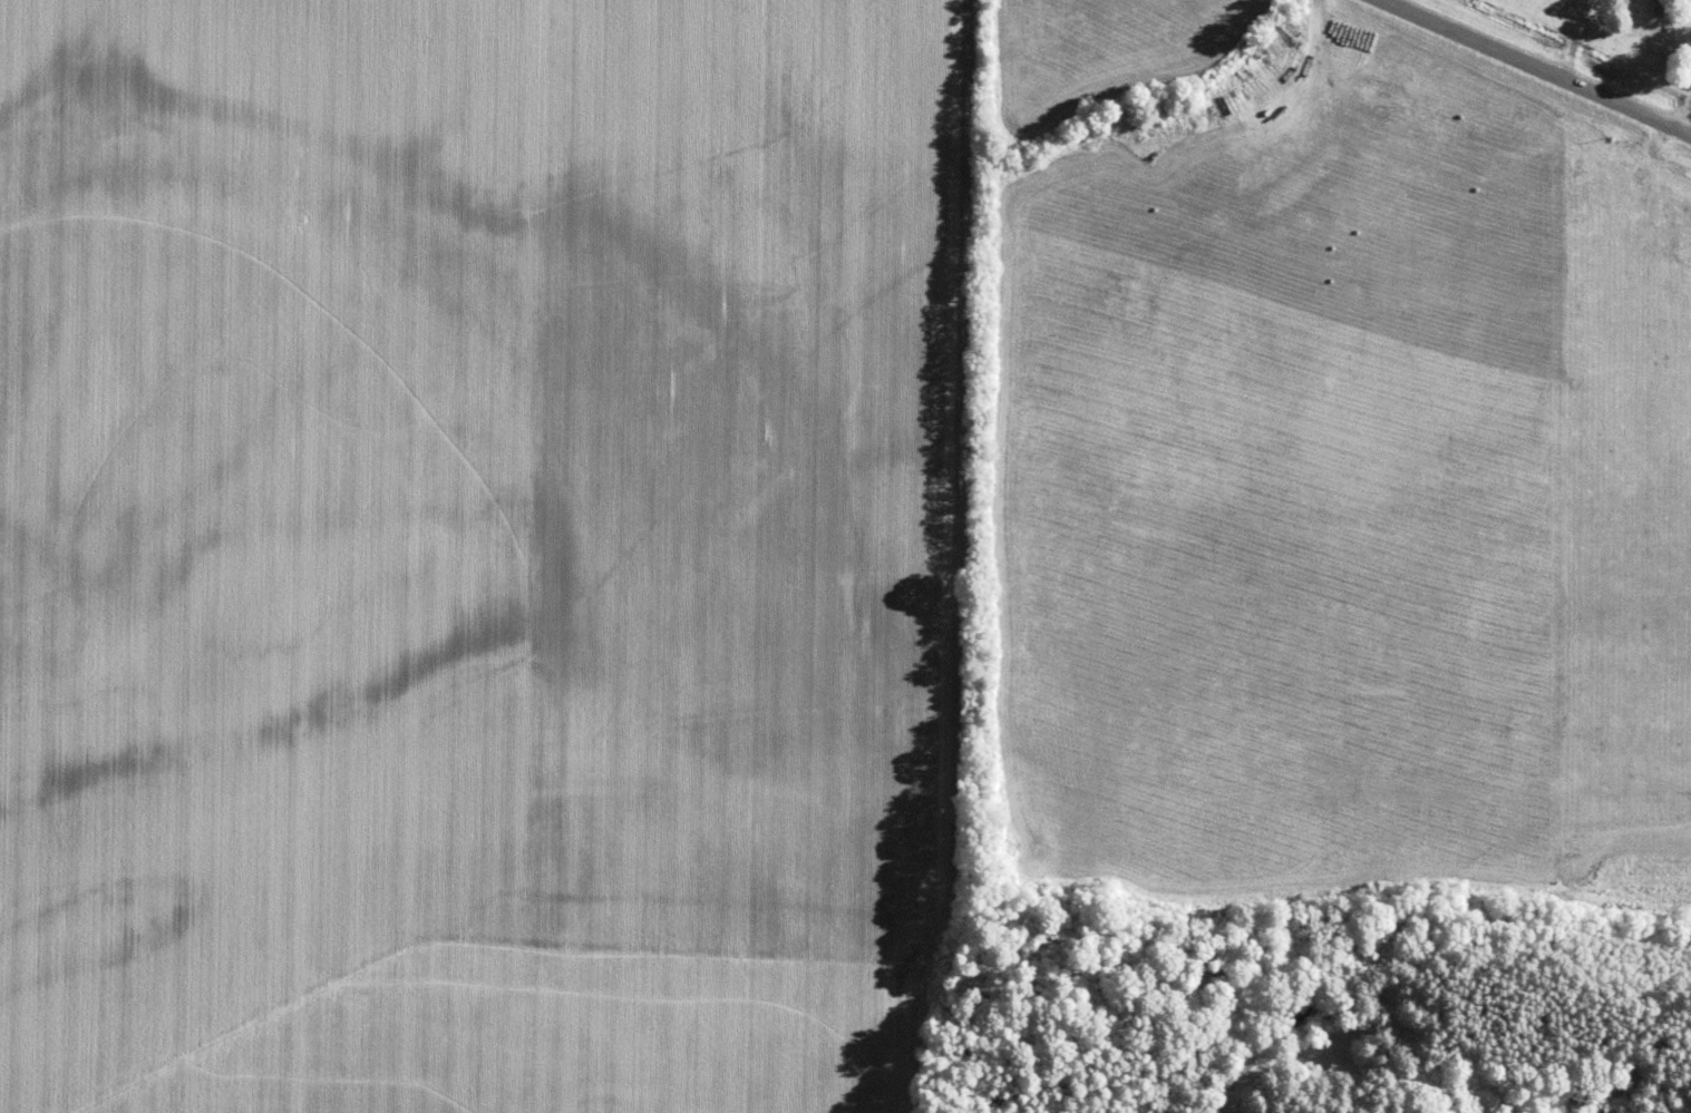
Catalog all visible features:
building: (1654, 7)
road: (1536, 66)

